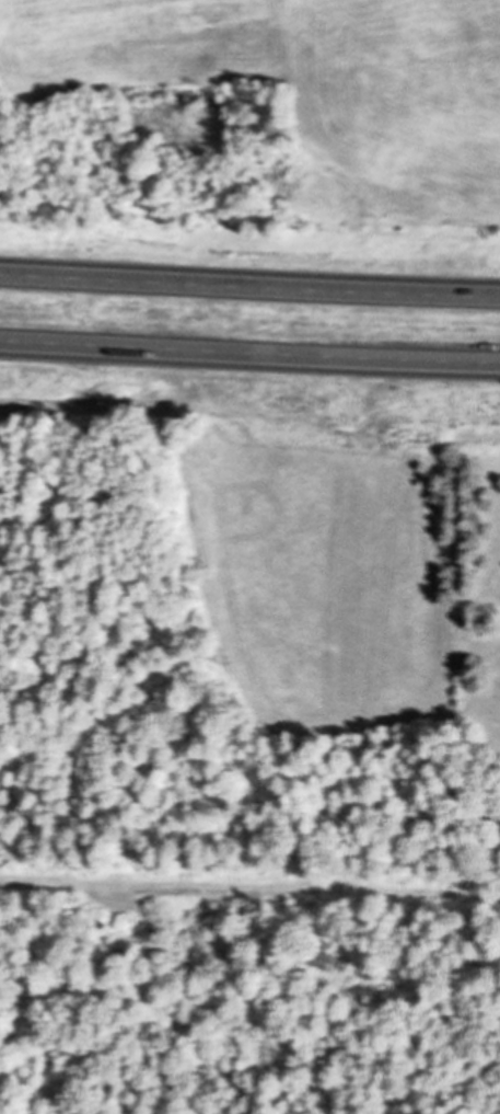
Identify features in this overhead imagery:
crop: (143, 41)
road: (249, 286)
road: (249, 356)

